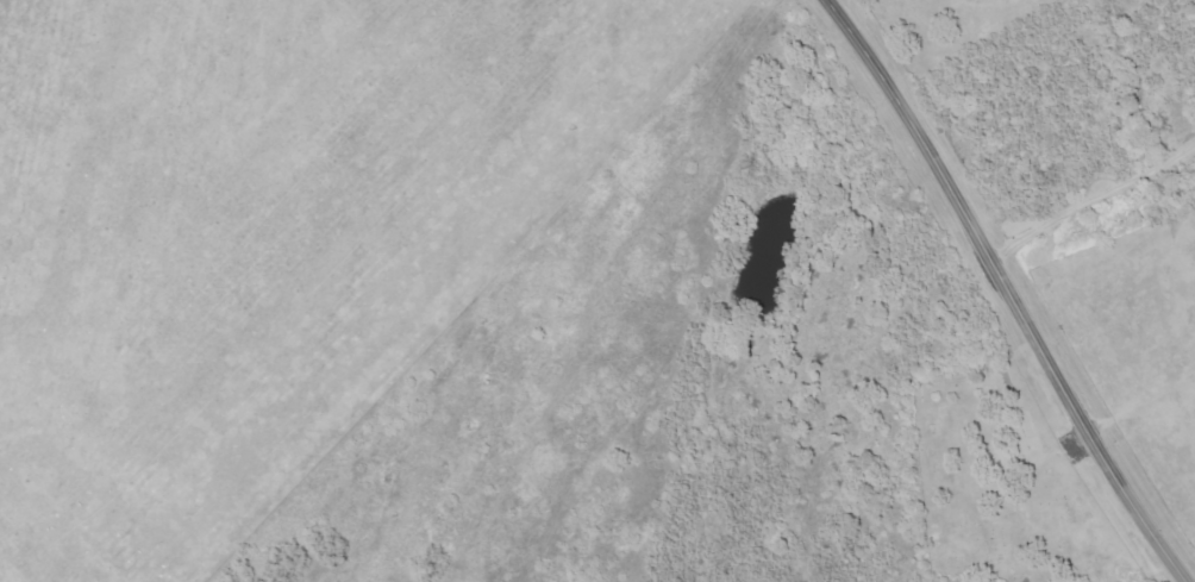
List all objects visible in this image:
road: (1089, 198)
road: (1006, 290)
park: (1000, 488)

